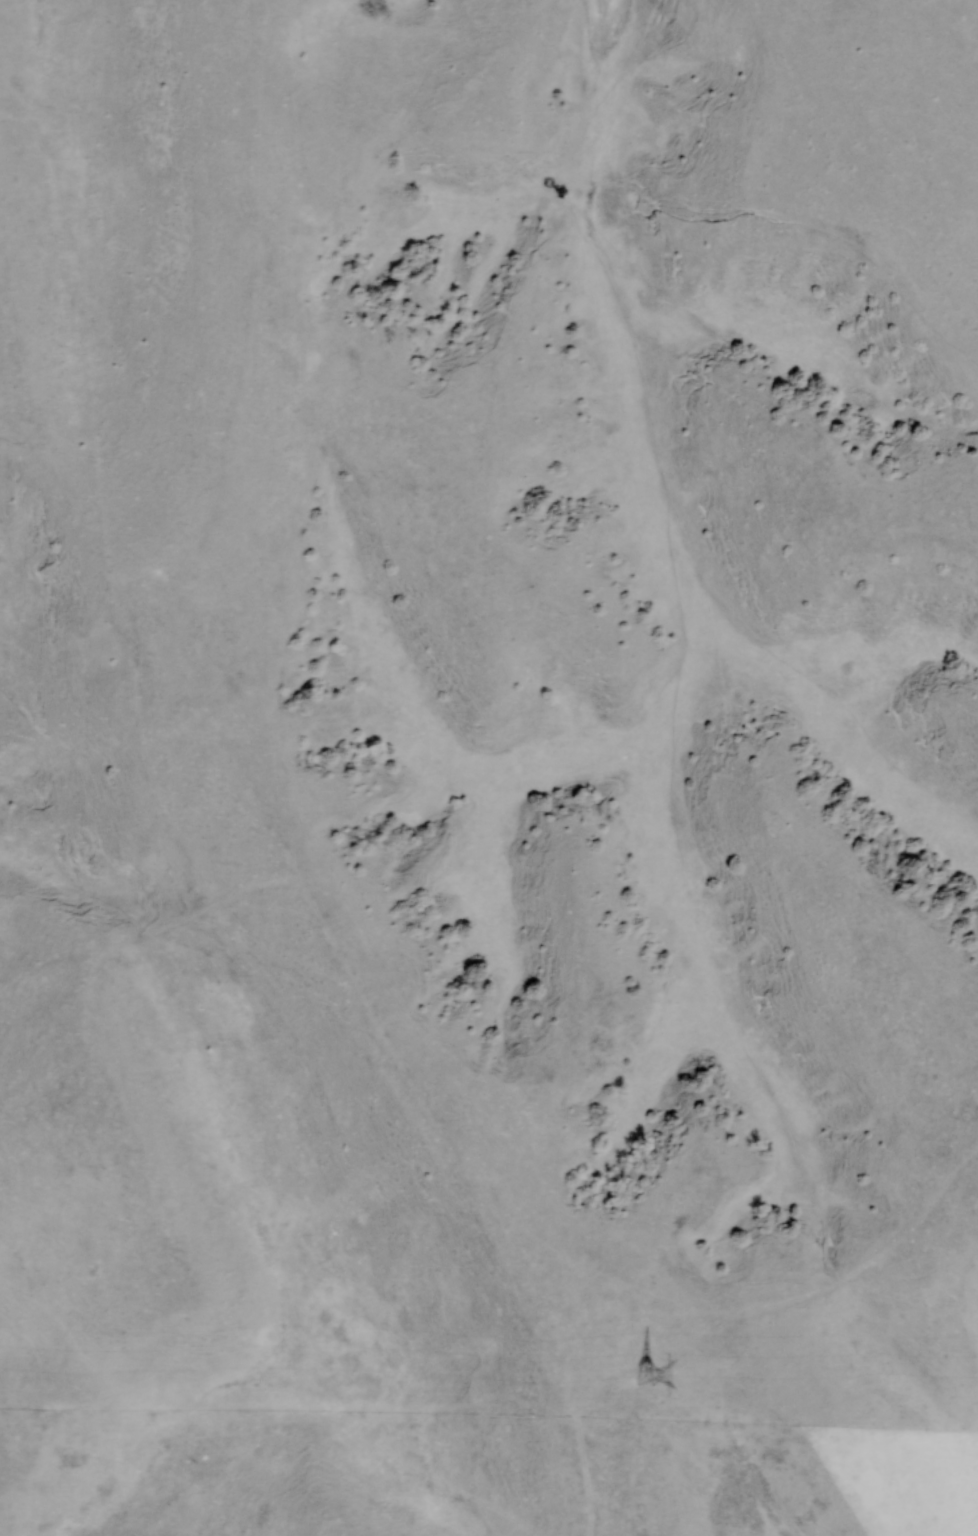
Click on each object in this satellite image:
power tower: (644, 1377)

